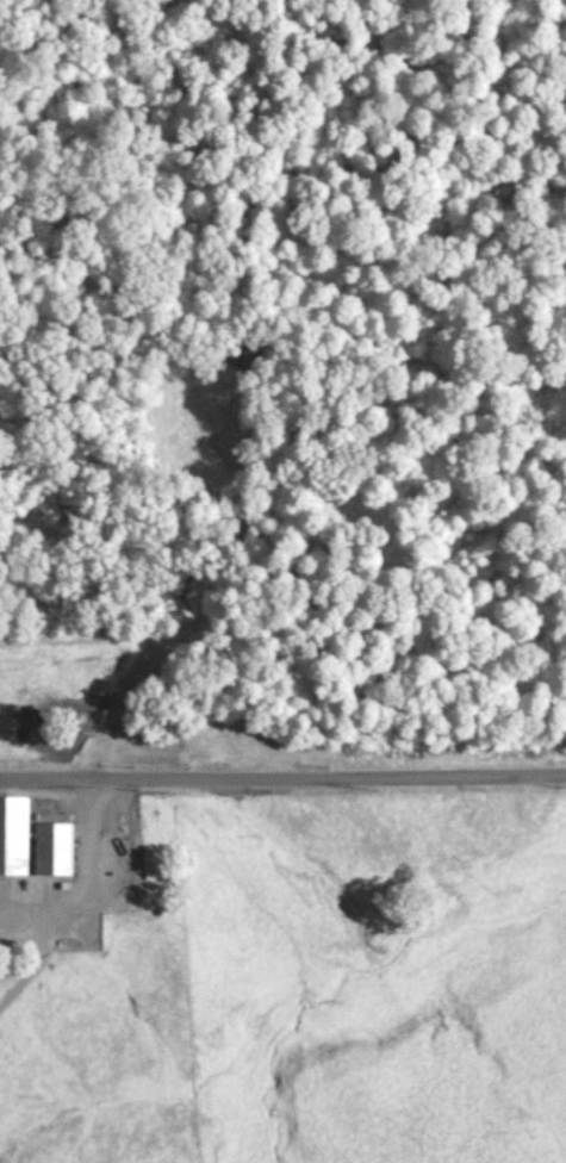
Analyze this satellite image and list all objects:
road: (282, 777)
building: (14, 835)
building: (54, 845)
road: (89, 877)

